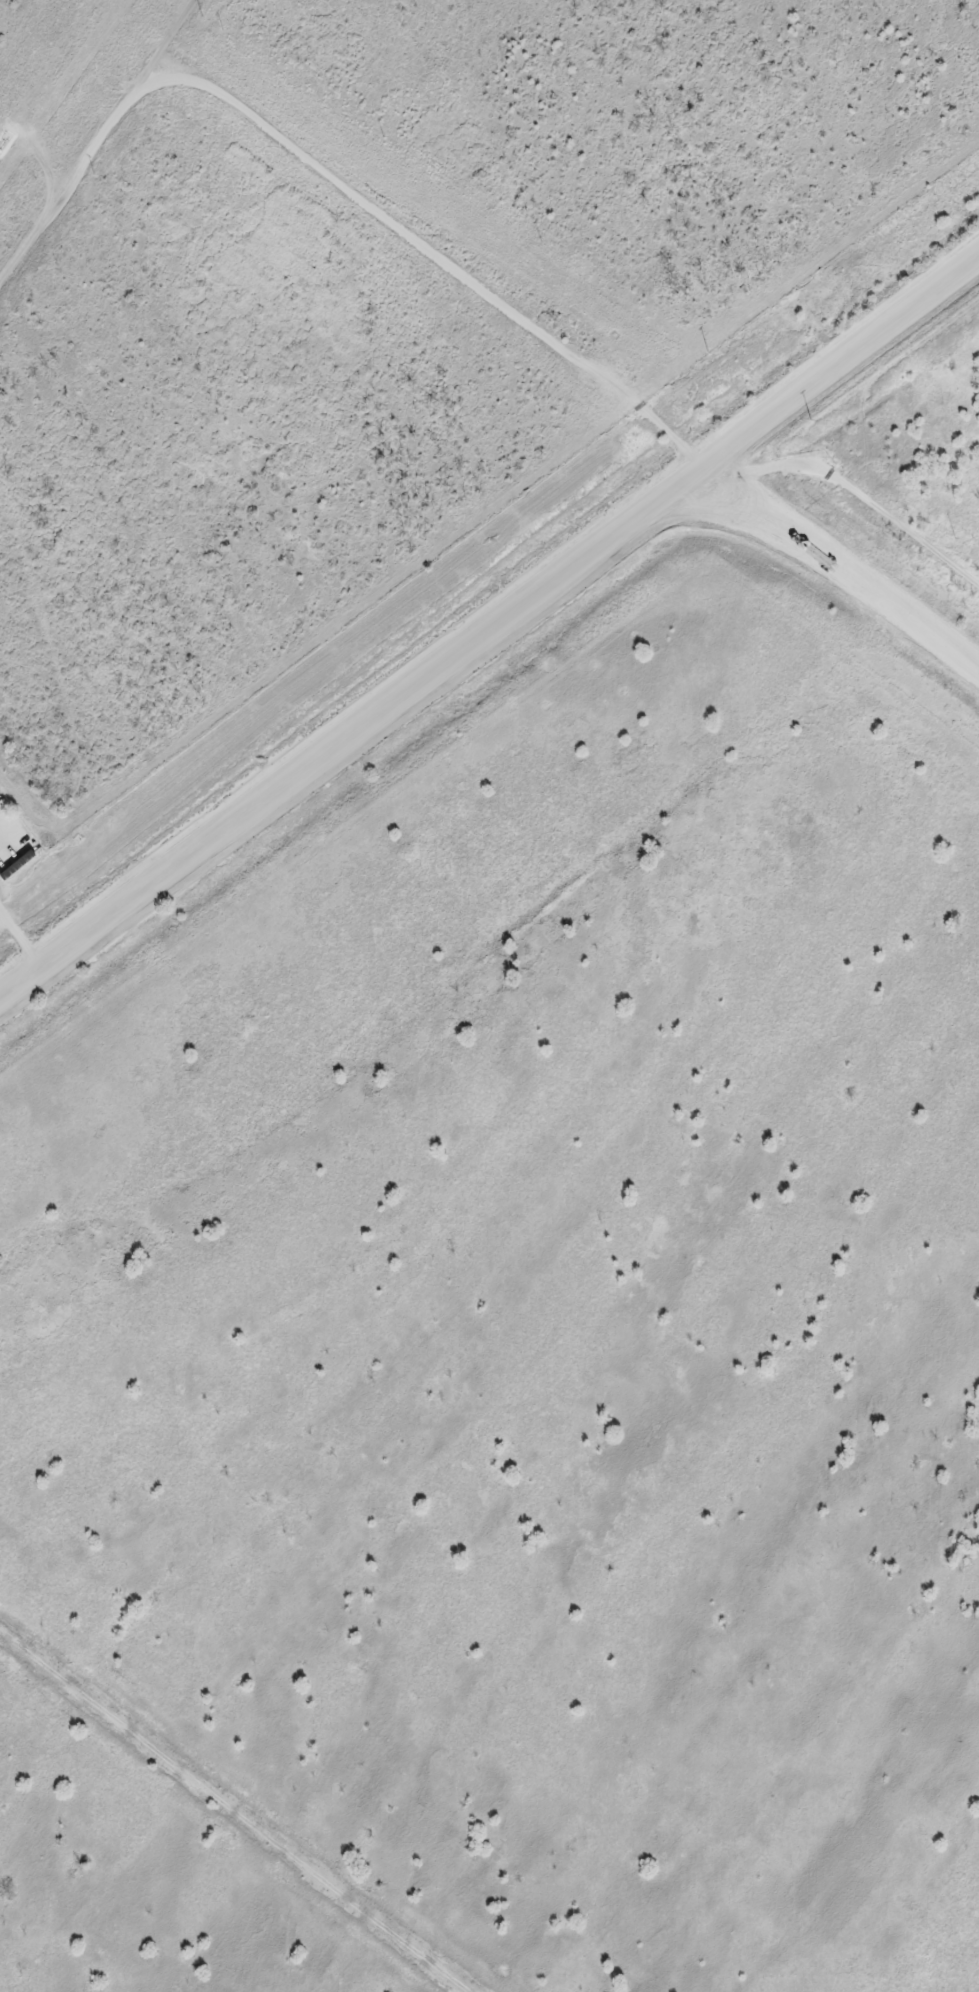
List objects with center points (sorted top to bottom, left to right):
road: (451, 259)
road: (494, 625)
building: (17, 866)
quarry: (531, 1245)

